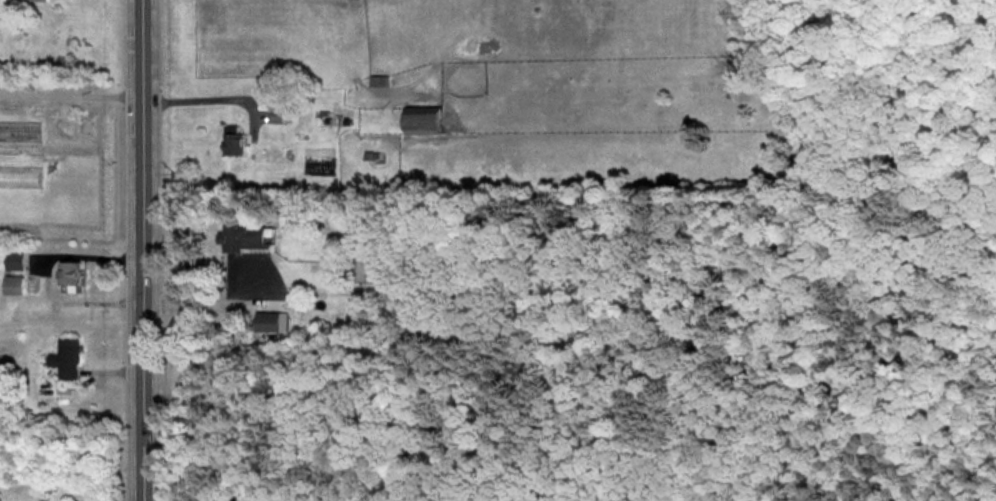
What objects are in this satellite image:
building: (36, 1)
road: (72, 93)
road: (204, 99)
building: (275, 116)
building: (421, 124)
building: (232, 141)
building: (244, 238)
road: (145, 250)
building: (13, 262)
building: (70, 276)
building: (12, 286)
road: (214, 299)
building: (267, 322)
building: (65, 359)

